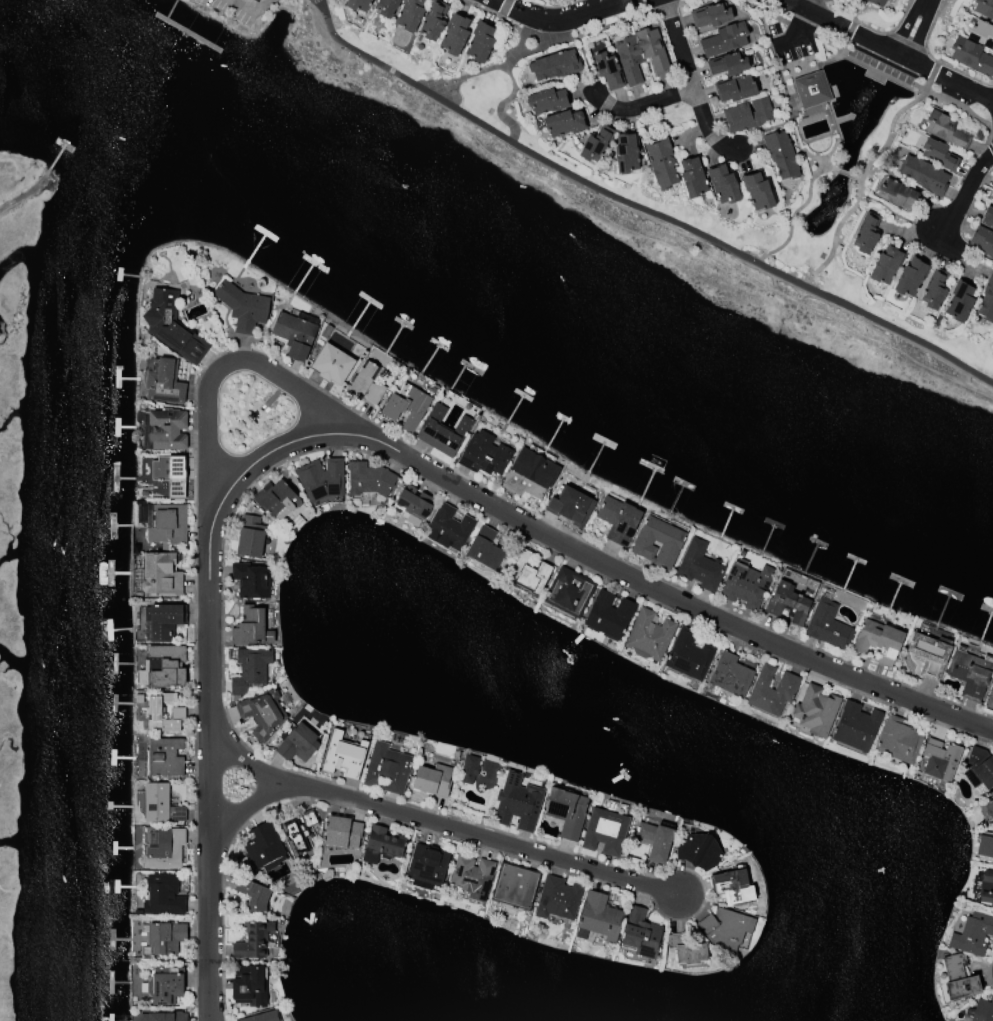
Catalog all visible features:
building: (256, 1)
road: (498, 3)
road: (499, 3)
road: (807, 4)
building: (875, 4)
building: (358, 5)
road: (250, 6)
building: (386, 7)
building: (984, 8)
building: (409, 15)
building: (712, 16)
building: (433, 20)
road: (567, 21)
road: (906, 25)
road: (920, 30)
building: (454, 34)
building: (982, 34)
building: (726, 40)
building: (479, 43)
road: (889, 50)
building: (642, 55)
building: (972, 56)
building: (556, 65)
building: (729, 65)
road: (490, 71)
building: (609, 71)
road: (690, 82)
building: (736, 89)
building: (812, 89)
fountain: (862, 98)
fountain: (865, 99)
fountain: (861, 100)
building: (547, 101)
road: (503, 104)
road: (636, 108)
building: (748, 116)
building: (564, 123)
building: (946, 130)
building: (597, 144)
pier: (63, 145)
building: (627, 153)
building: (782, 155)
building: (940, 157)
pier: (55, 160)
building: (662, 163)
road: (844, 173)
road: (863, 175)
building: (925, 176)
building: (694, 178)
road: (856, 178)
building: (725, 184)
building: (758, 190)
road: (24, 193)
building: (897, 194)
fountain: (833, 195)
building: (992, 198)
road: (640, 209)
road: (955, 210)
road: (793, 214)
building: (988, 218)
fountain: (817, 222)
building: (868, 233)
building: (983, 241)
building: (887, 266)
building: (912, 278)
building: (936, 291)
building: (987, 301)
building: (961, 302)
river: (493, 306)
building: (242, 307)
building: (172, 326)
building: (295, 333)
building: (332, 364)
road: (221, 367)
road: (303, 374)
building: (164, 383)
building: (366, 385)
building: (405, 406)
building: (164, 429)
building: (442, 431)
road: (364, 432)
building: (485, 455)
building: (170, 474)
building: (531, 475)
building: (321, 479)
building: (368, 479)
building: (276, 500)
building: (414, 502)
building: (571, 506)
building: (619, 520)
building: (167, 523)
building: (448, 527)
building: (250, 537)
building: (659, 543)
building: (486, 550)
building: (701, 567)
building: (527, 573)
building: (161, 575)
building: (251, 581)
building: (747, 585)
building: (570, 593)
building: (788, 603)
building: (610, 615)
building: (160, 621)
building: (828, 626)
building: (251, 628)
building: (650, 635)
building: (879, 642)
building: (689, 656)
building: (930, 656)
building: (163, 667)
building: (250, 669)
building: (971, 673)
building: (732, 675)
building: (773, 691)
building: (816, 711)
building: (164, 712)
building: (261, 713)
building: (857, 727)
building: (899, 741)
building: (298, 744)
building: (343, 754)
building: (164, 757)
road: (239, 758)
building: (941, 762)
building: (980, 768)
building: (387, 769)
building: (469, 769)
building: (432, 780)
building: (991, 796)
road: (239, 803)
building: (160, 805)
building: (519, 807)
building: (989, 808)
building: (567, 812)
building: (301, 832)
building: (342, 832)
building: (606, 832)
building: (656, 841)
road: (477, 842)
building: (382, 845)
building: (985, 845)
building: (263, 848)
building: (165, 850)
building: (699, 852)
building: (427, 866)
building: (473, 877)
building: (734, 886)
building: (516, 887)
building: (987, 888)
building: (253, 894)
building: (163, 896)
building: (559, 899)
building: (600, 918)
building: (726, 929)
building: (642, 934)
building: (974, 934)
building: (166, 937)
building: (253, 941)
building: (688, 951)
building: (959, 979)
building: (165, 985)
building: (249, 985)
building: (983, 1011)
building: (163, 1017)
building: (262, 1017)

